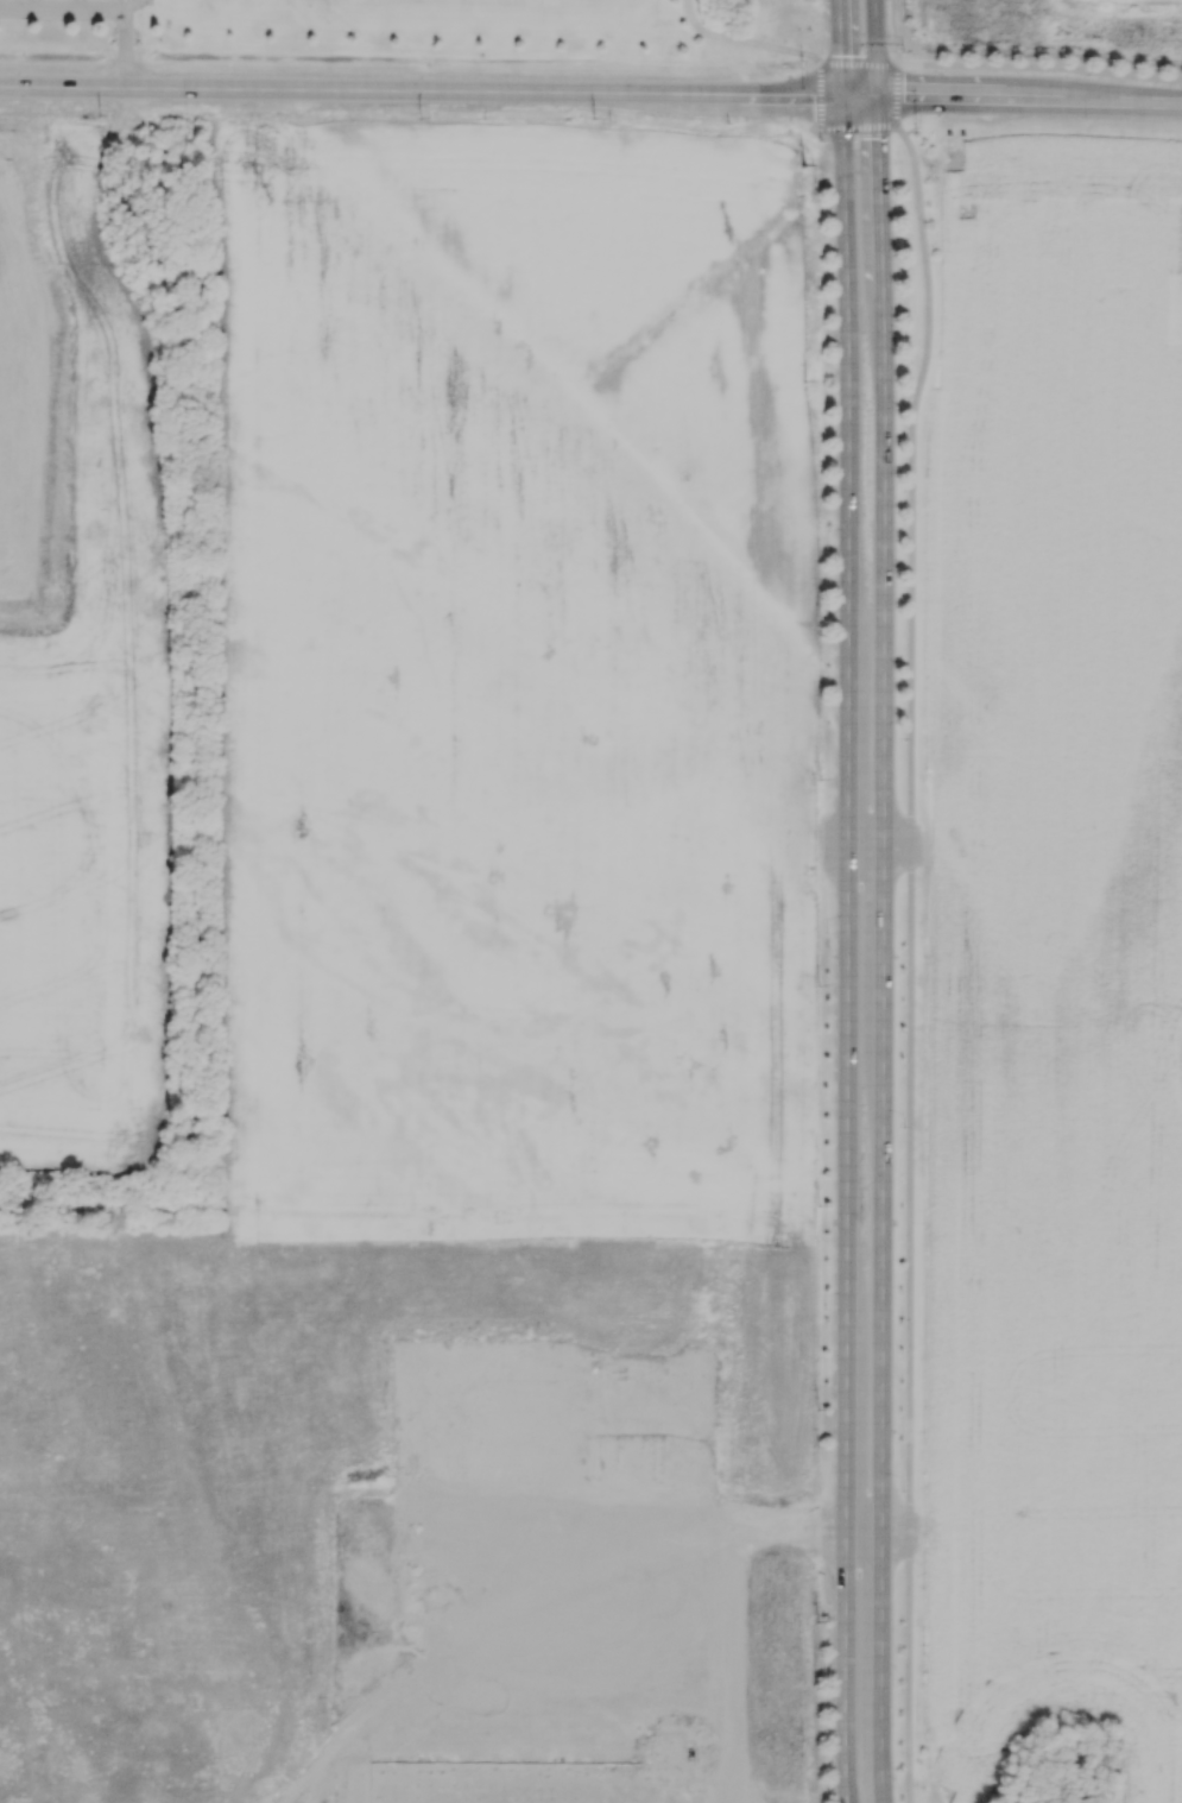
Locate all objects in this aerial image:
parking lot: (77, 1)
road: (34, 5)
road: (80, 5)
road: (125, 5)
park: (345, 10)
park: (551, 10)
road: (101, 11)
road: (892, 32)
road: (741, 44)
traffic signals: (839, 56)
road: (857, 65)
road: (1038, 68)
road: (437, 92)
road: (895, 95)
traffic signals: (902, 97)
traffic signals: (813, 99)
road: (1028, 99)
power tower: (593, 120)
road: (822, 131)
road: (908, 132)
traffic signals: (877, 138)
power tower: (804, 168)
road: (870, 846)
road: (845, 901)
road: (883, 901)
road: (909, 960)
road: (870, 1532)

